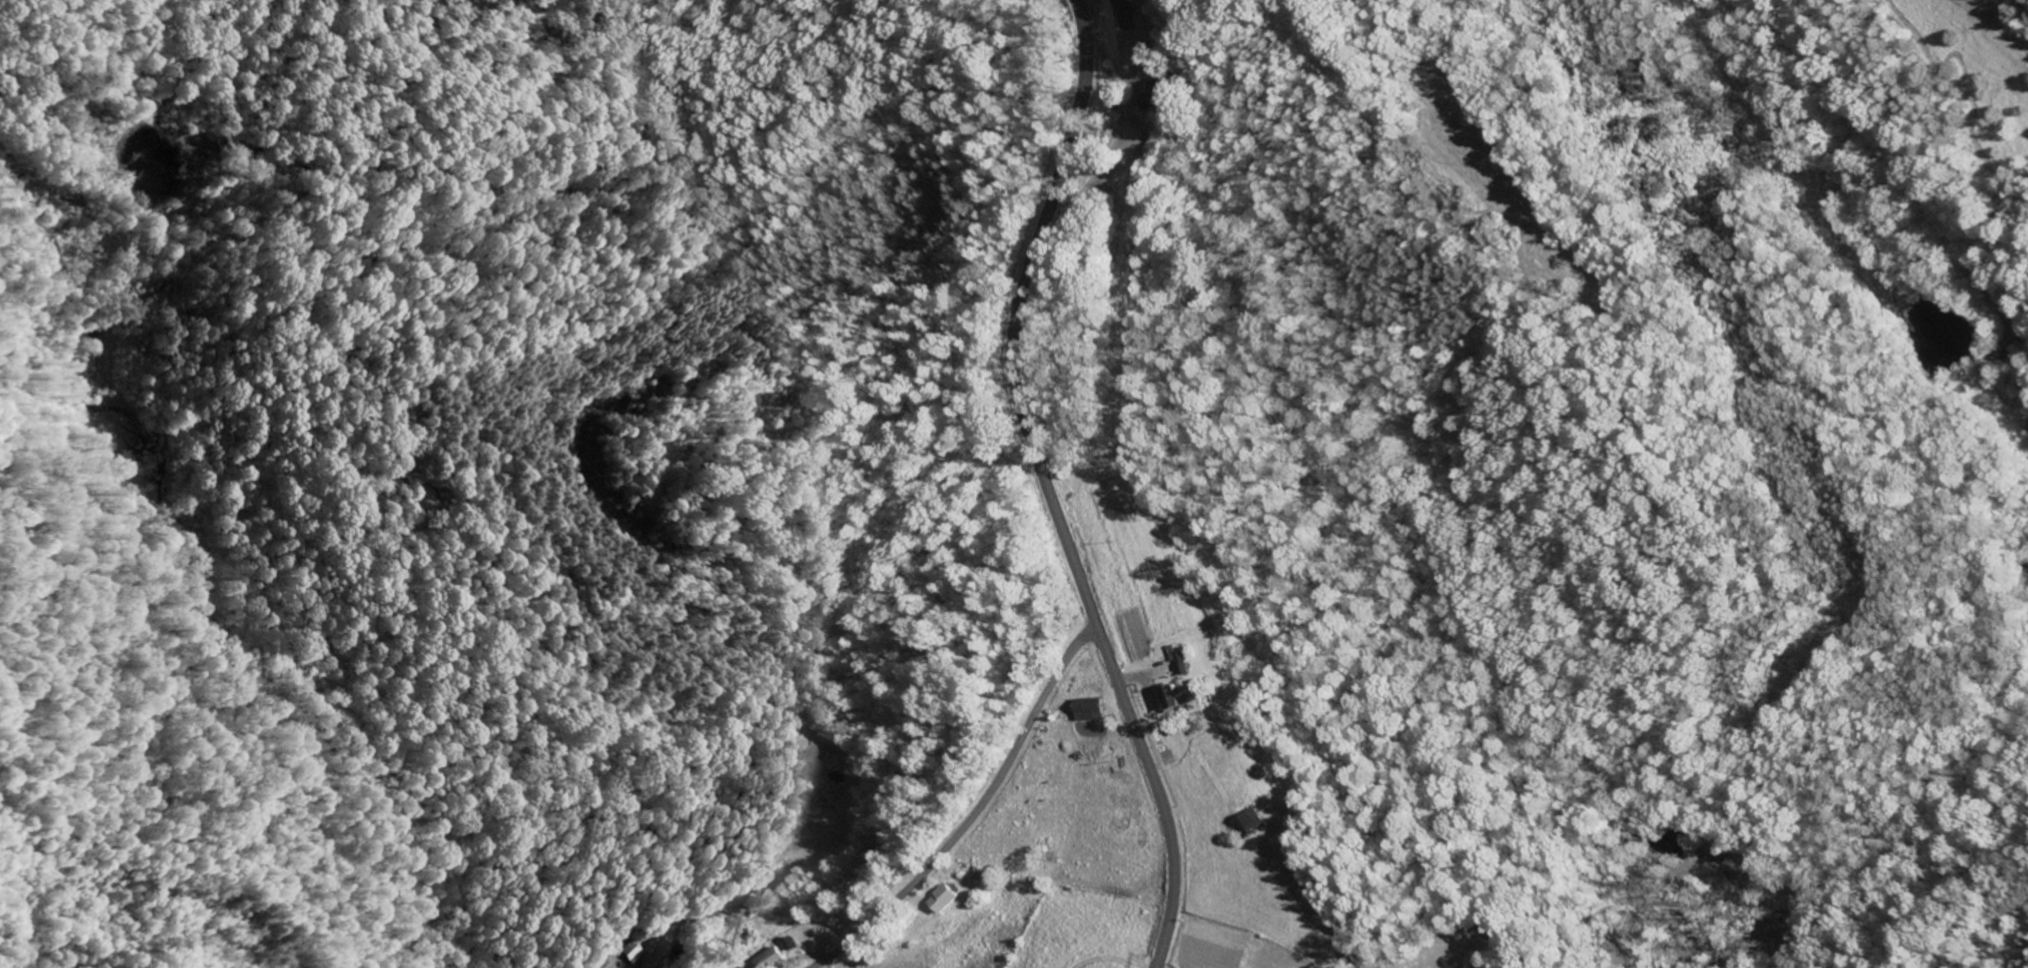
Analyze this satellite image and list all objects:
building: (1155, 98)
road: (1050, 485)
building: (1174, 699)
building: (1088, 712)
road: (976, 809)
building: (1249, 826)
building: (943, 900)
building: (636, 953)
building: (773, 960)

